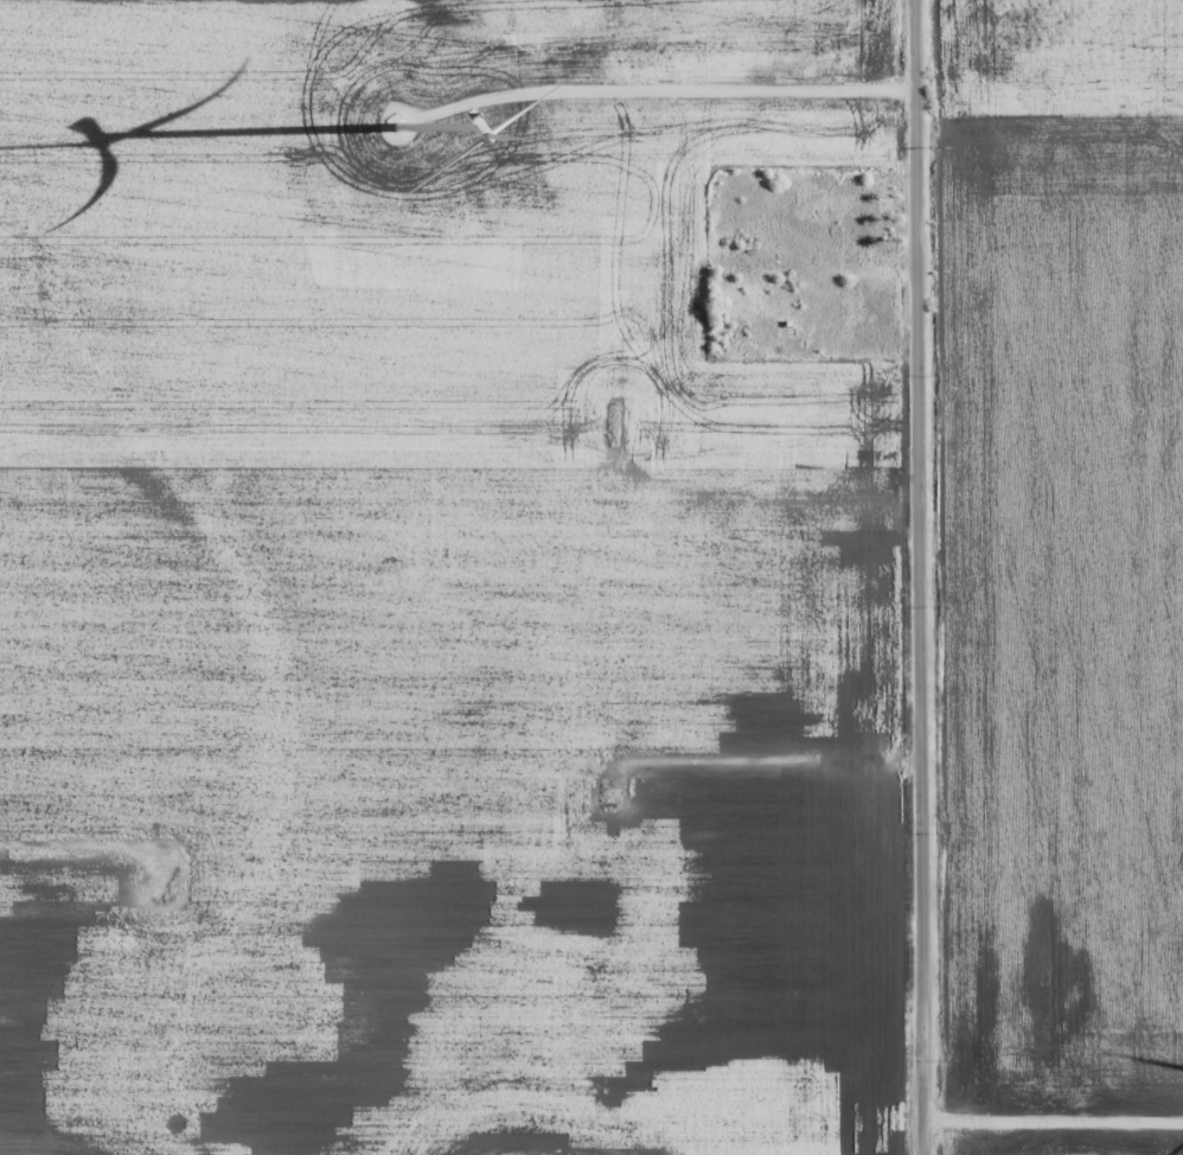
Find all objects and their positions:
wind turbine: (394, 126)
road: (466, 465)
road: (932, 576)
road: (71, 881)

